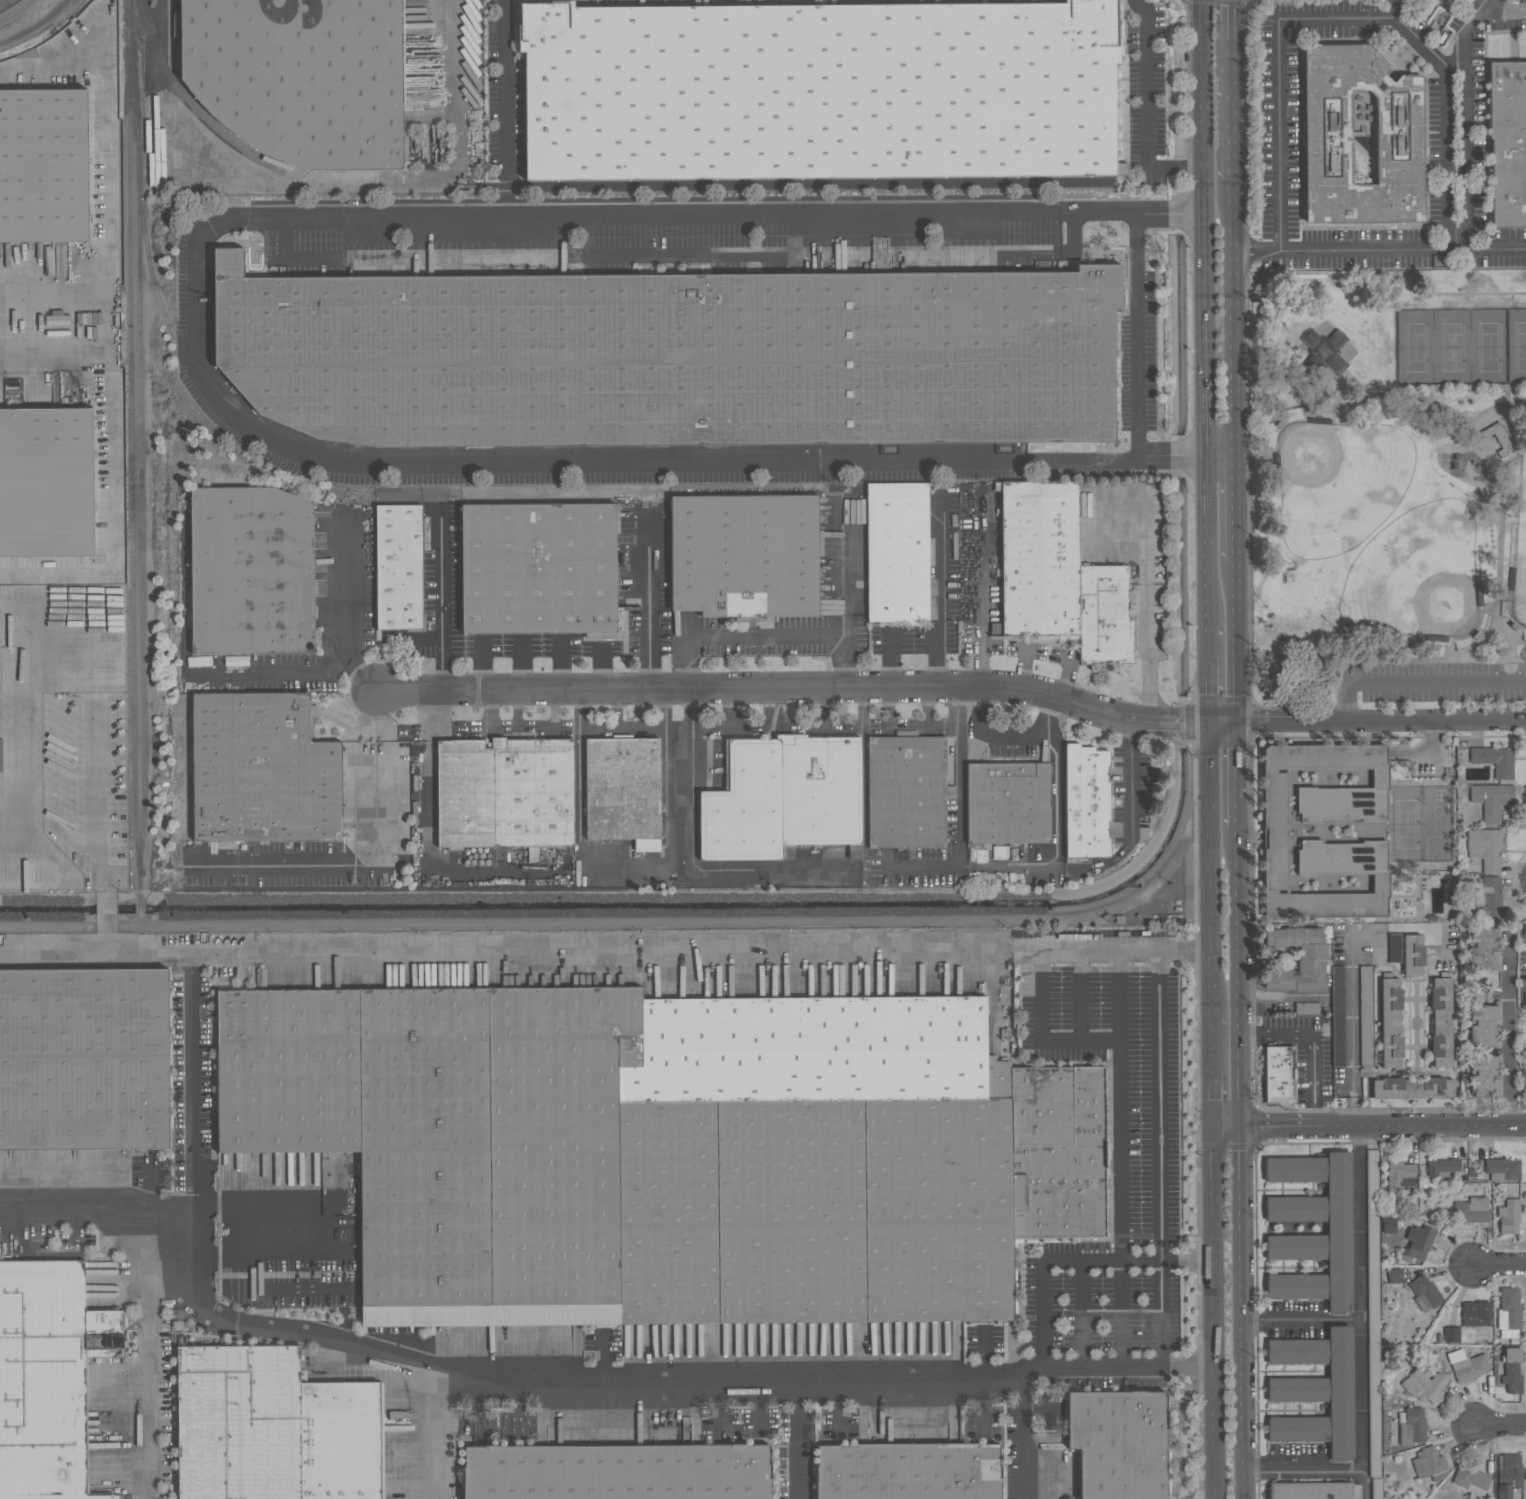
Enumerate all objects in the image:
road: (1490, 4)
road: (1393, 9)
railway: (18, 12)
railway: (37, 26)
railway: (176, 30)
railway: (48, 35)
road: (1436, 60)
road: (1451, 61)
building: (302, 77)
road: (451, 88)
building: (819, 90)
road: (1230, 91)
railway: (189, 101)
road: (1463, 101)
road: (505, 110)
road: (1145, 111)
building: (22, 116)
railway: (119, 139)
building: (1327, 141)
building: (1507, 142)
road: (1132, 213)
building: (25, 221)
road: (421, 222)
railway: (138, 228)
railway: (129, 240)
road: (1485, 246)
railway: (151, 259)
road: (1512, 294)
road: (56, 303)
road: (1206, 311)
road: (1232, 321)
road: (1137, 336)
road: (56, 346)
park: (1461, 346)
building: (1325, 351)
building: (672, 355)
road: (1471, 387)
road: (1507, 395)
road: (1301, 397)
road: (1431, 402)
building: (1500, 439)
building: (16, 442)
railway: (123, 446)
railway: (471, 453)
road: (1114, 460)
road: (1219, 460)
road: (732, 463)
road: (27, 468)
road: (55, 469)
park: (1386, 489)
building: (84, 494)
road: (1233, 511)
park: (1521, 526)
park: (1378, 527)
road: (44, 539)
building: (897, 552)
building: (744, 555)
road: (940, 557)
building: (398, 567)
building: (538, 567)
building: (250, 571)
building: (1058, 576)
road: (846, 584)
road: (982, 591)
road: (441, 596)
road: (646, 600)
building: (108, 601)
road: (1249, 608)
road: (337, 613)
road: (1148, 618)
building: (110, 632)
road: (767, 635)
road: (1234, 643)
road: (537, 644)
road: (460, 647)
railway: (144, 650)
road: (940, 656)
road: (1511, 658)
road: (888, 660)
road: (514, 667)
road: (562, 667)
road: (1023, 670)
road: (270, 671)
road: (1204, 674)
road: (1062, 678)
road: (1417, 681)
railway: (135, 684)
road: (955, 691)
road: (428, 708)
road: (729, 709)
road: (772, 709)
road: (821, 709)
road: (863, 709)
road: (887, 710)
road: (926, 711)
road: (515, 721)
road: (551, 724)
road: (476, 726)
road: (398, 727)
road: (597, 729)
road: (621, 729)
road: (1012, 738)
road: (1432, 753)
building: (1494, 760)
road: (1235, 761)
road: (101, 769)
building: (262, 769)
road: (26, 774)
building: (622, 790)
building: (906, 790)
road: (1129, 791)
building: (505, 793)
building: (783, 797)
building: (1491, 800)
building: (1086, 801)
building: (1007, 802)
road: (960, 806)
road: (1056, 810)
road: (1235, 813)
building: (1276, 833)
road: (14, 839)
building: (1485, 847)
building: (1000, 851)
road: (692, 856)
road: (627, 858)
road: (429, 862)
road: (373, 865)
road: (1208, 868)
building: (1490, 897)
road: (108, 918)
road: (616, 949)
road: (1125, 949)
building: (1485, 949)
road: (95, 950)
building: (1412, 955)
building: (1298, 959)
road: (1080, 995)
road: (1280, 996)
building: (1525, 999)
building: (1307, 1007)
building: (1338, 1015)
building: (1365, 1015)
building: (1441, 1020)
building: (1390, 1021)
building: (1484, 1025)
road: (1352, 1029)
road: (1509, 1031)
road: (1041, 1035)
road: (1312, 1042)
building: (84, 1059)
road: (1211, 1070)
building: (1278, 1074)
building: (1485, 1076)
building: (1523, 1078)
road: (193, 1082)
building: (1412, 1087)
road: (1368, 1126)
building: (668, 1150)
road: (1120, 1155)
road: (1236, 1163)
building: (1443, 1167)
building: (1501, 1168)
building: (1399, 1175)
building: (1471, 1210)
road: (1160, 1214)
building: (1509, 1215)
building: (1388, 1225)
building: (1338, 1227)
building: (1418, 1242)
road: (1499, 1264)
building: (1394, 1275)
building: (1425, 1293)
road: (1361, 1297)
road: (1041, 1298)
building: (1372, 1299)
building: (1509, 1308)
road: (1082, 1311)
road: (1213, 1313)
building: (1475, 1313)
road: (1299, 1318)
building: (1451, 1334)
building: (197, 1339)
road: (149, 1356)
road: (1187, 1361)
building: (1467, 1365)
road: (463, 1369)
building: (1511, 1370)
building: (49, 1376)
building: (1423, 1385)
building: (1315, 1390)
road: (1500, 1425)
building: (1411, 1426)
building: (272, 1427)
road: (437, 1432)
road: (796, 1441)
building: (1119, 1443)
building: (1429, 1463)
road: (1300, 1469)
building: (616, 1471)
building: (907, 1471)
building: (1508, 1474)
building: (1471, 1479)
road: (1367, 1483)
building: (1310, 1490)

